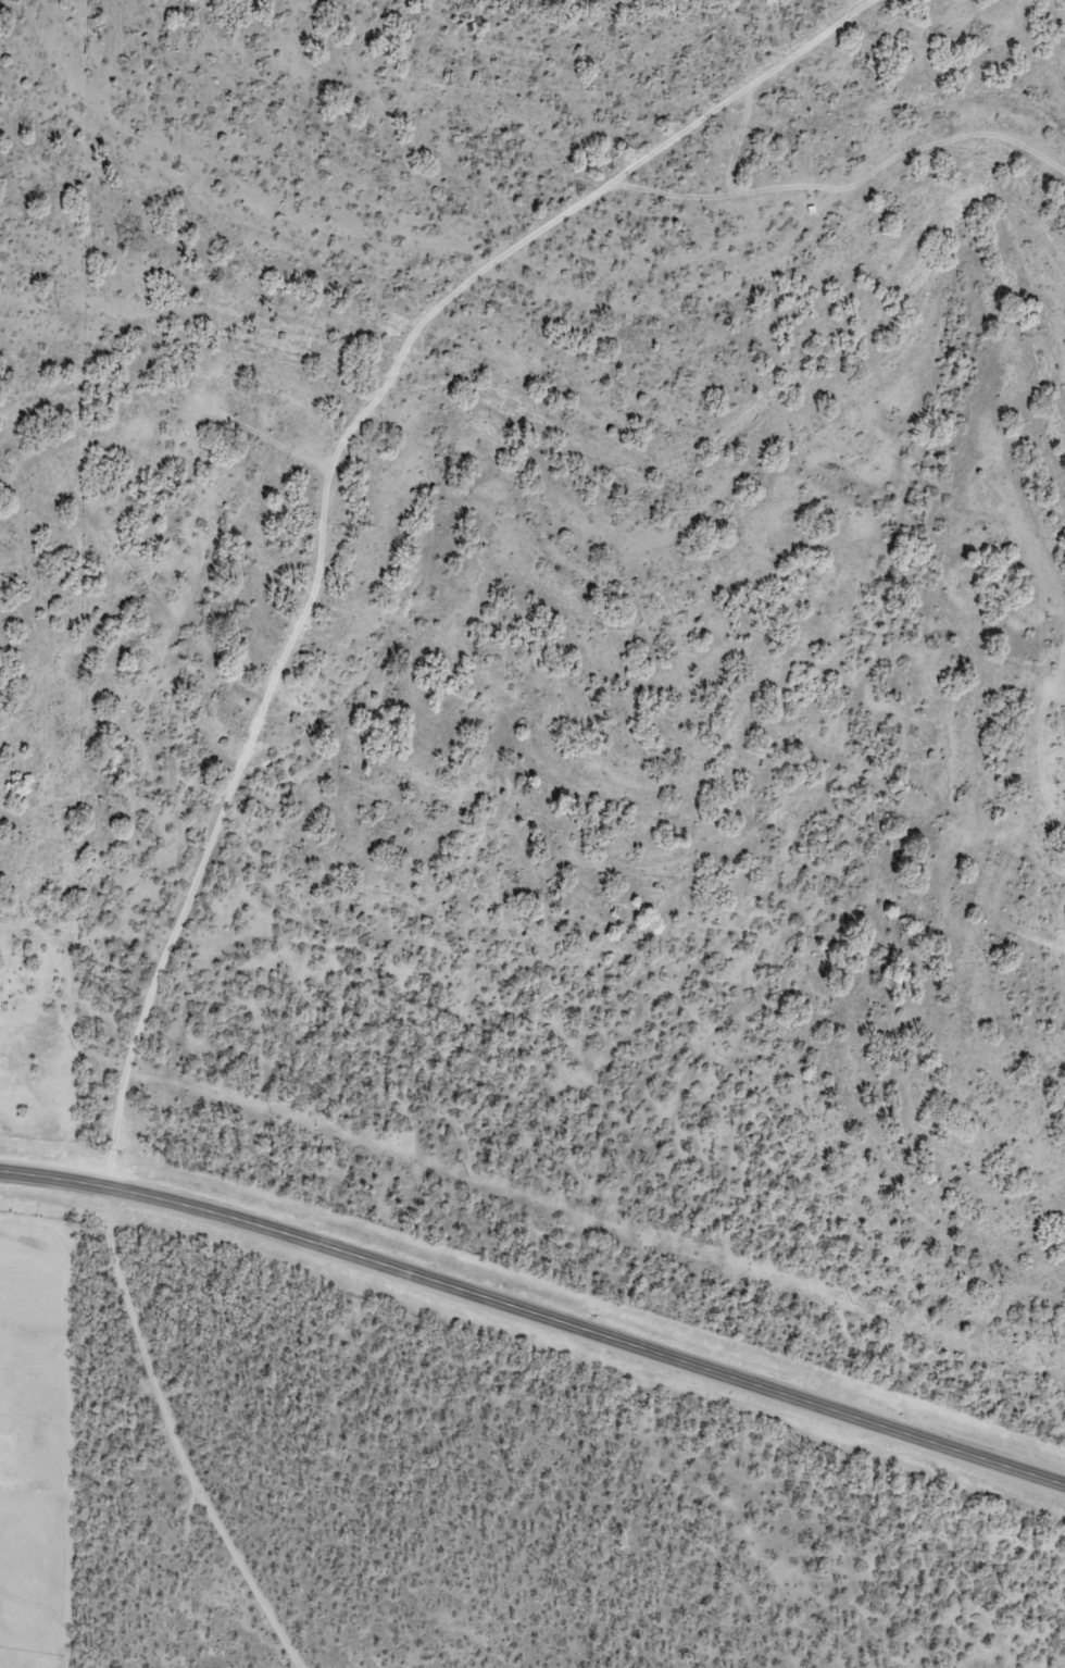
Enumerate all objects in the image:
road: (293, 768)
road: (534, 1320)

